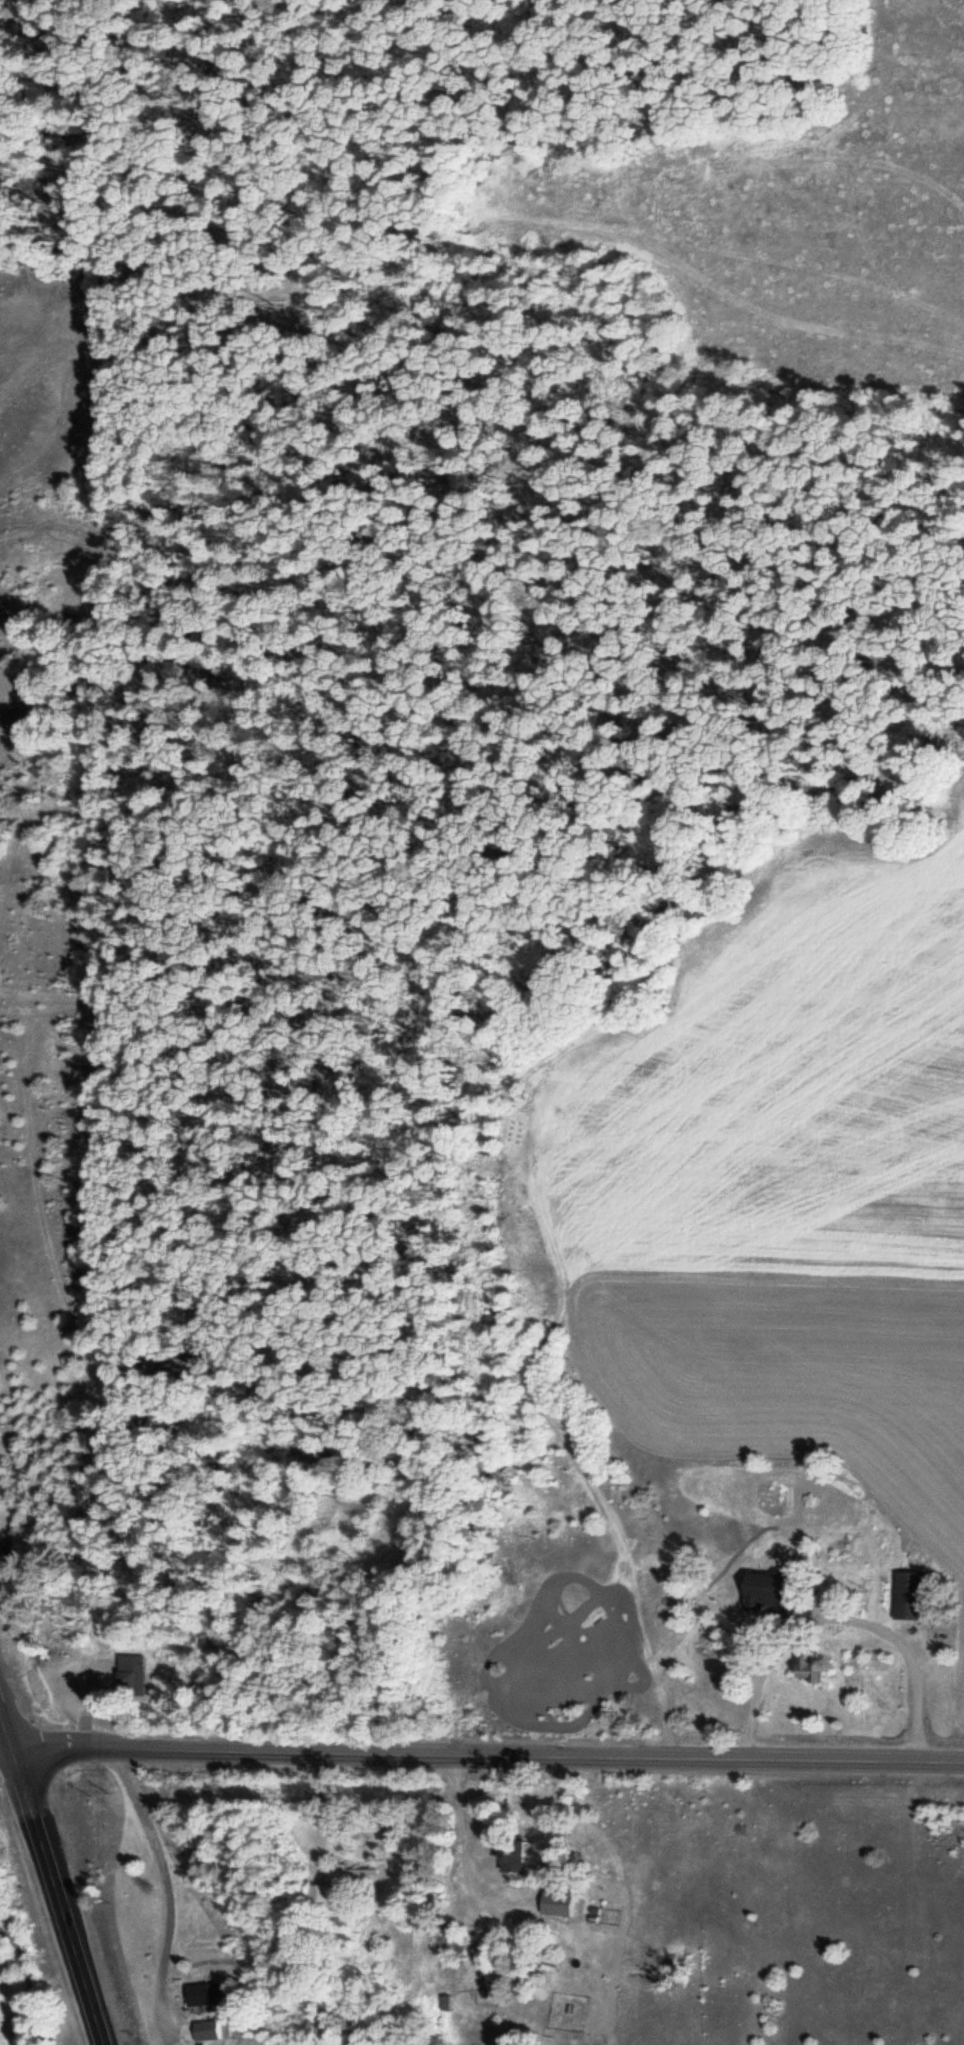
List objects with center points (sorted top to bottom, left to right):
building: (767, 1591)
building: (908, 1594)
building: (807, 1667)
building: (129, 1675)
road: (9, 1714)
road: (482, 1754)
building: (511, 1852)
building: (350, 1871)
building: (316, 1891)
road: (60, 1896)
building: (556, 1899)
building: (203, 1991)
park: (25, 1996)
building: (443, 2000)
building: (204, 2028)

